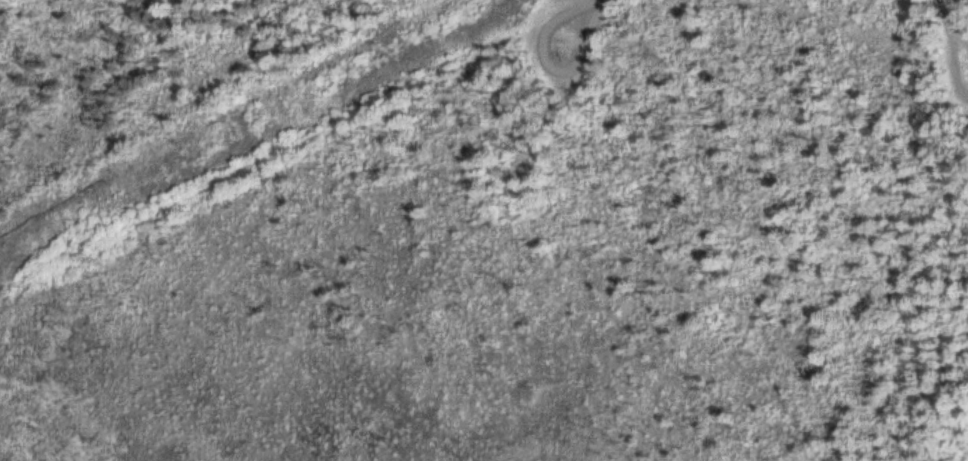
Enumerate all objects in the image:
road: (945, 14)
road: (959, 35)
road: (549, 60)
road: (952, 63)

